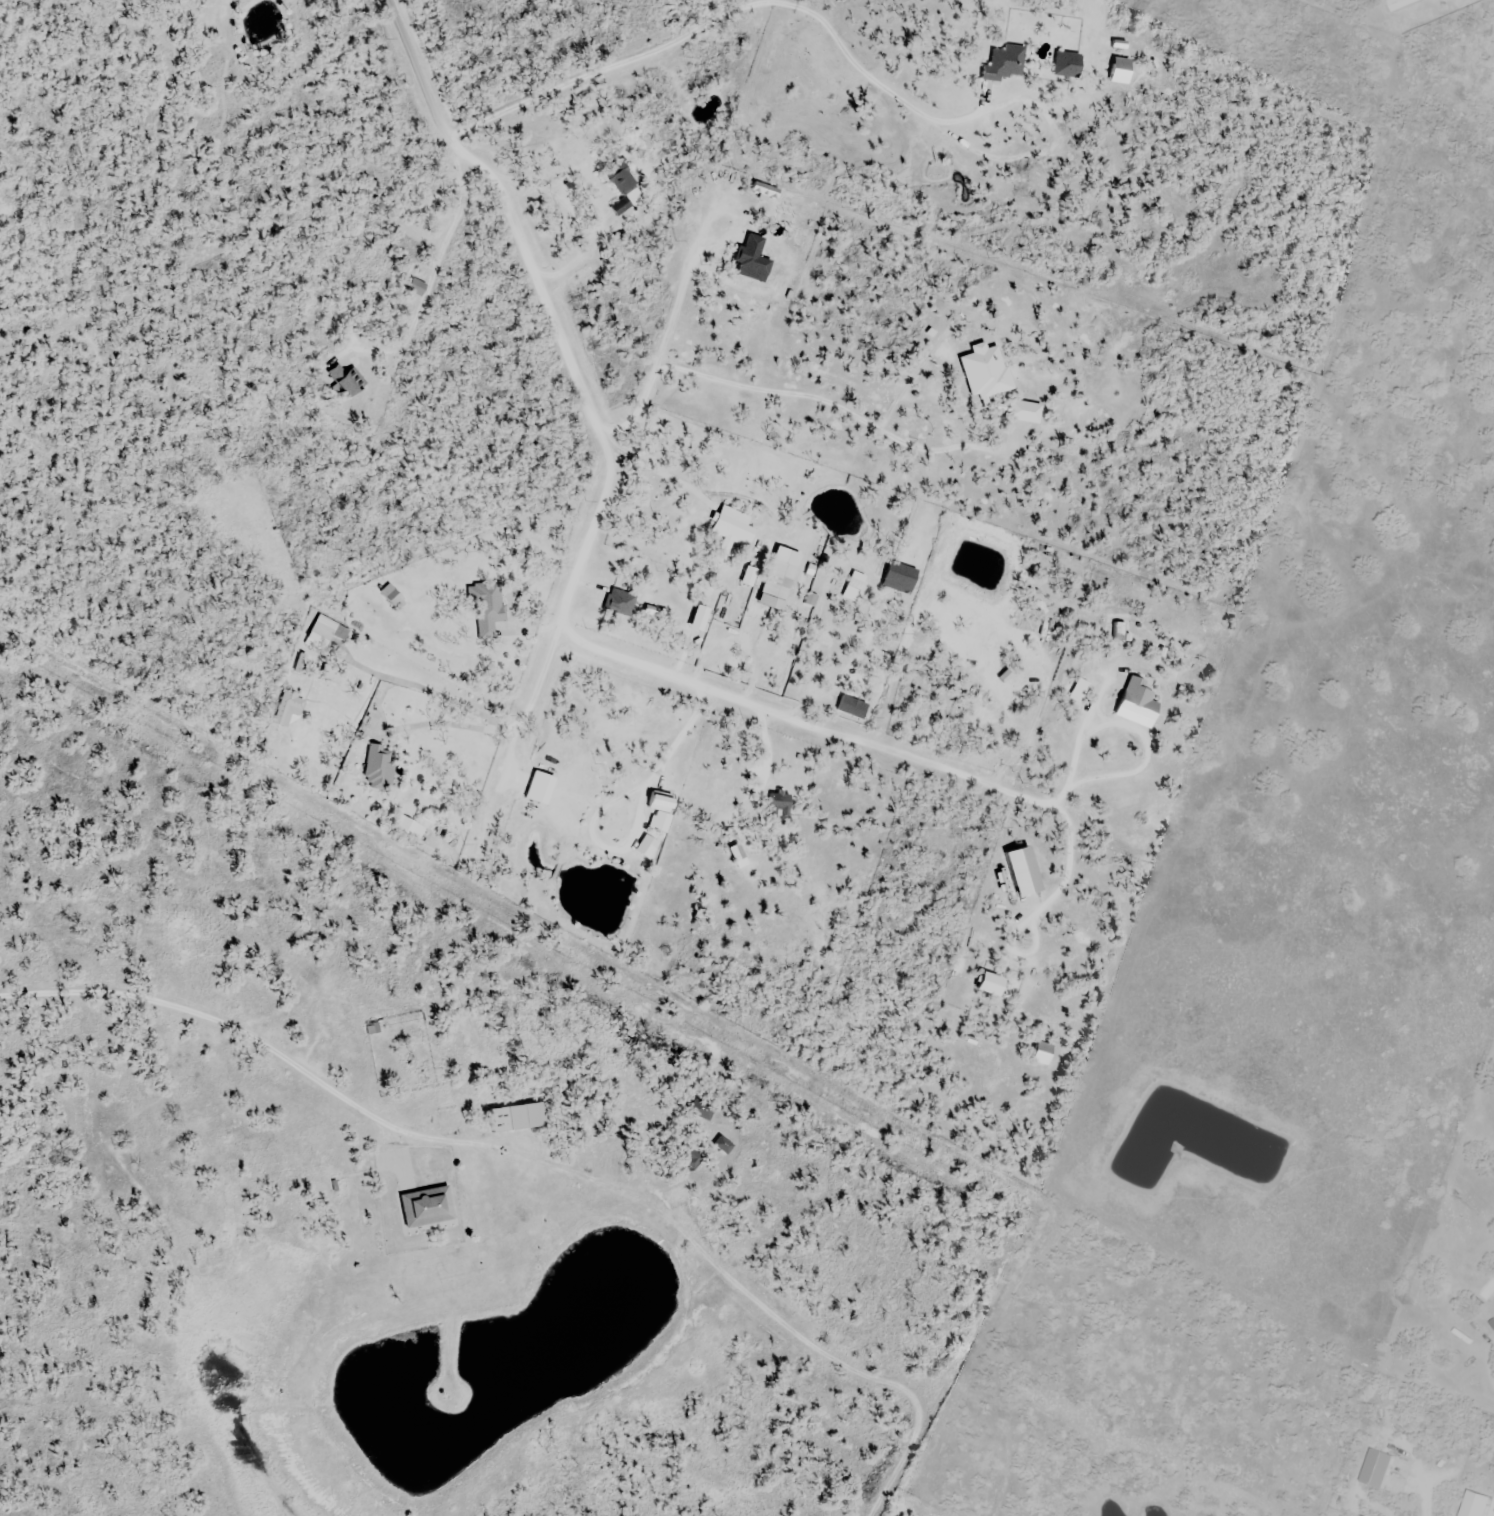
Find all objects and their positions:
road: (393, 9)
road: (724, 14)
building: (1003, 63)
building: (1063, 64)
building: (1119, 71)
road: (420, 78)
building: (621, 184)
building: (784, 216)
building: (751, 255)
road: (656, 350)
building: (343, 382)
road: (831, 402)
road: (606, 460)
building: (731, 527)
building: (898, 578)
building: (747, 579)
building: (775, 585)
building: (853, 587)
building: (392, 595)
building: (614, 601)
building: (488, 603)
building: (1118, 632)
building: (326, 633)
building: (1134, 703)
building: (289, 709)
road: (847, 734)
building: (380, 767)
building: (538, 790)
building: (778, 804)
building: (661, 809)
building: (415, 825)
building: (650, 847)
building: (431, 944)
building: (984, 984)
road: (223, 1028)
building: (374, 1028)
building: (705, 1108)
building: (517, 1118)
building: (430, 1207)

